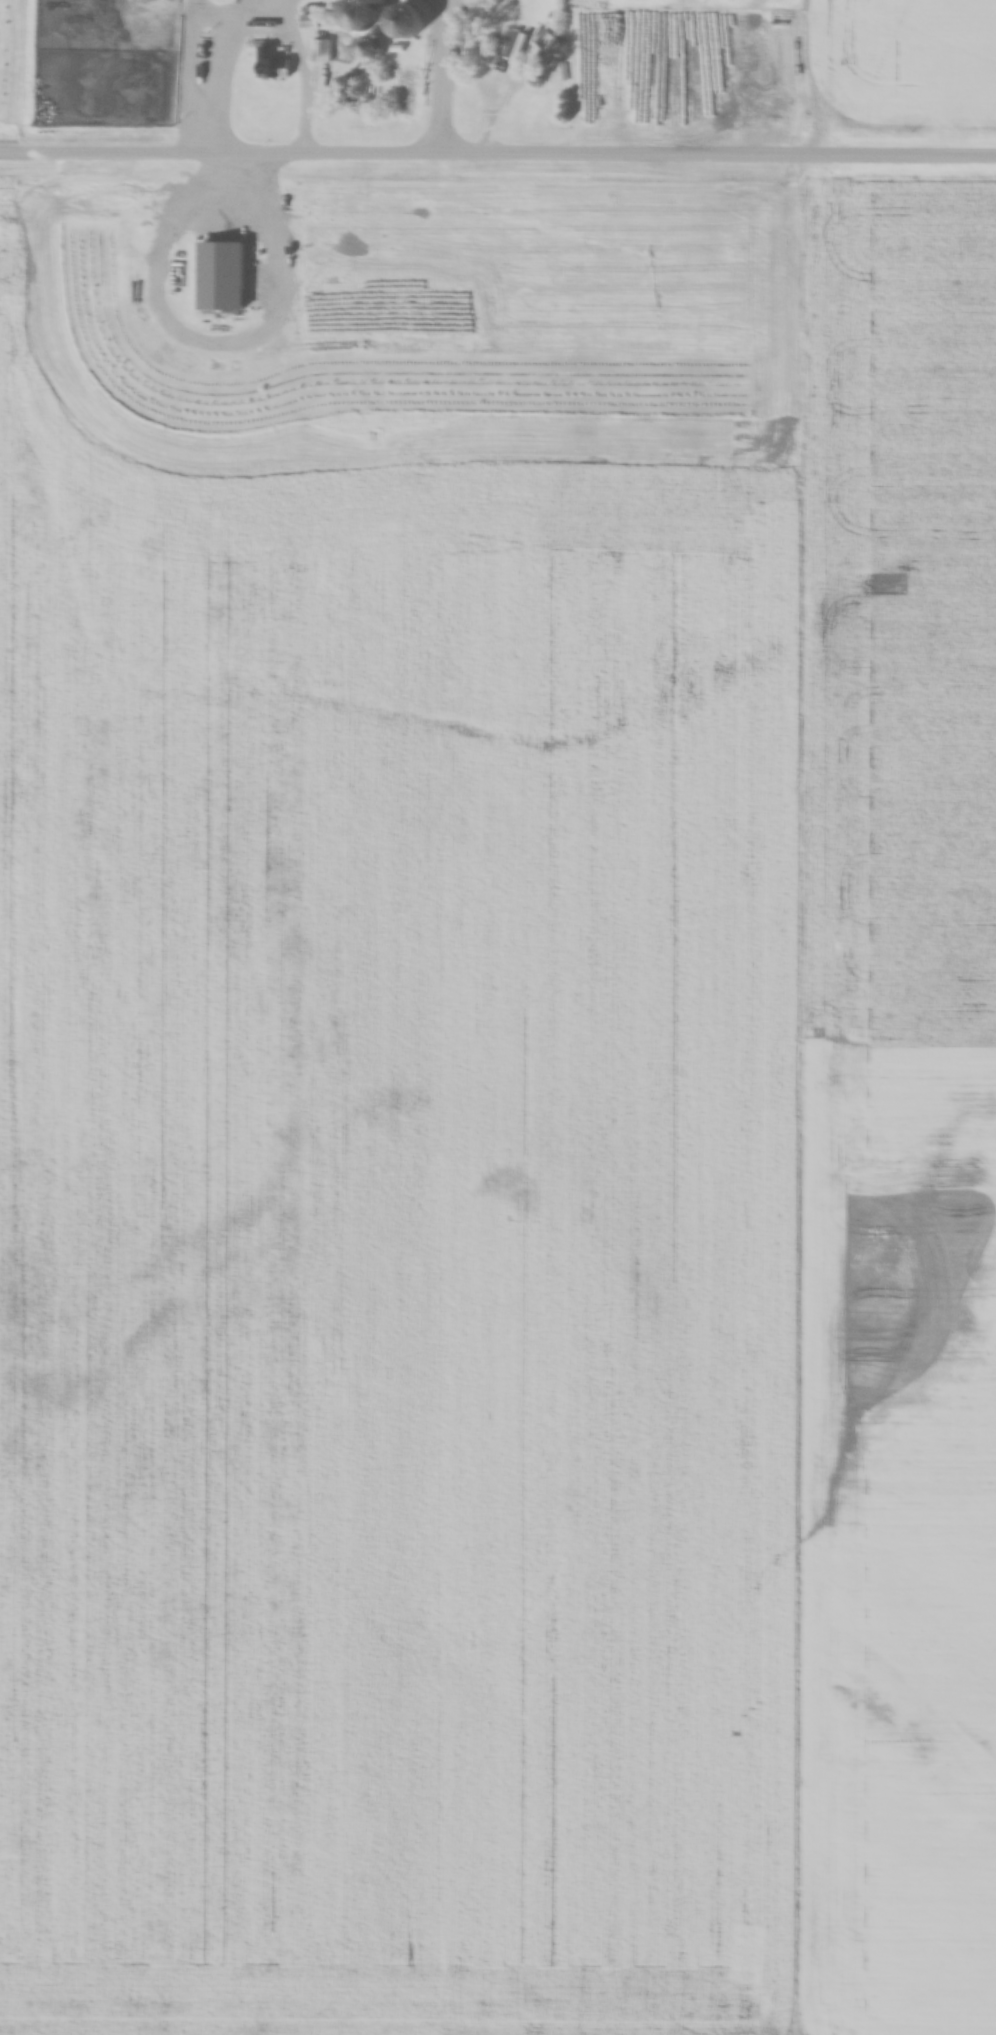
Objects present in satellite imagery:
building: (406, 23)
building: (504, 33)
building: (548, 43)
building: (321, 52)
building: (273, 65)
road: (498, 153)
building: (222, 277)

